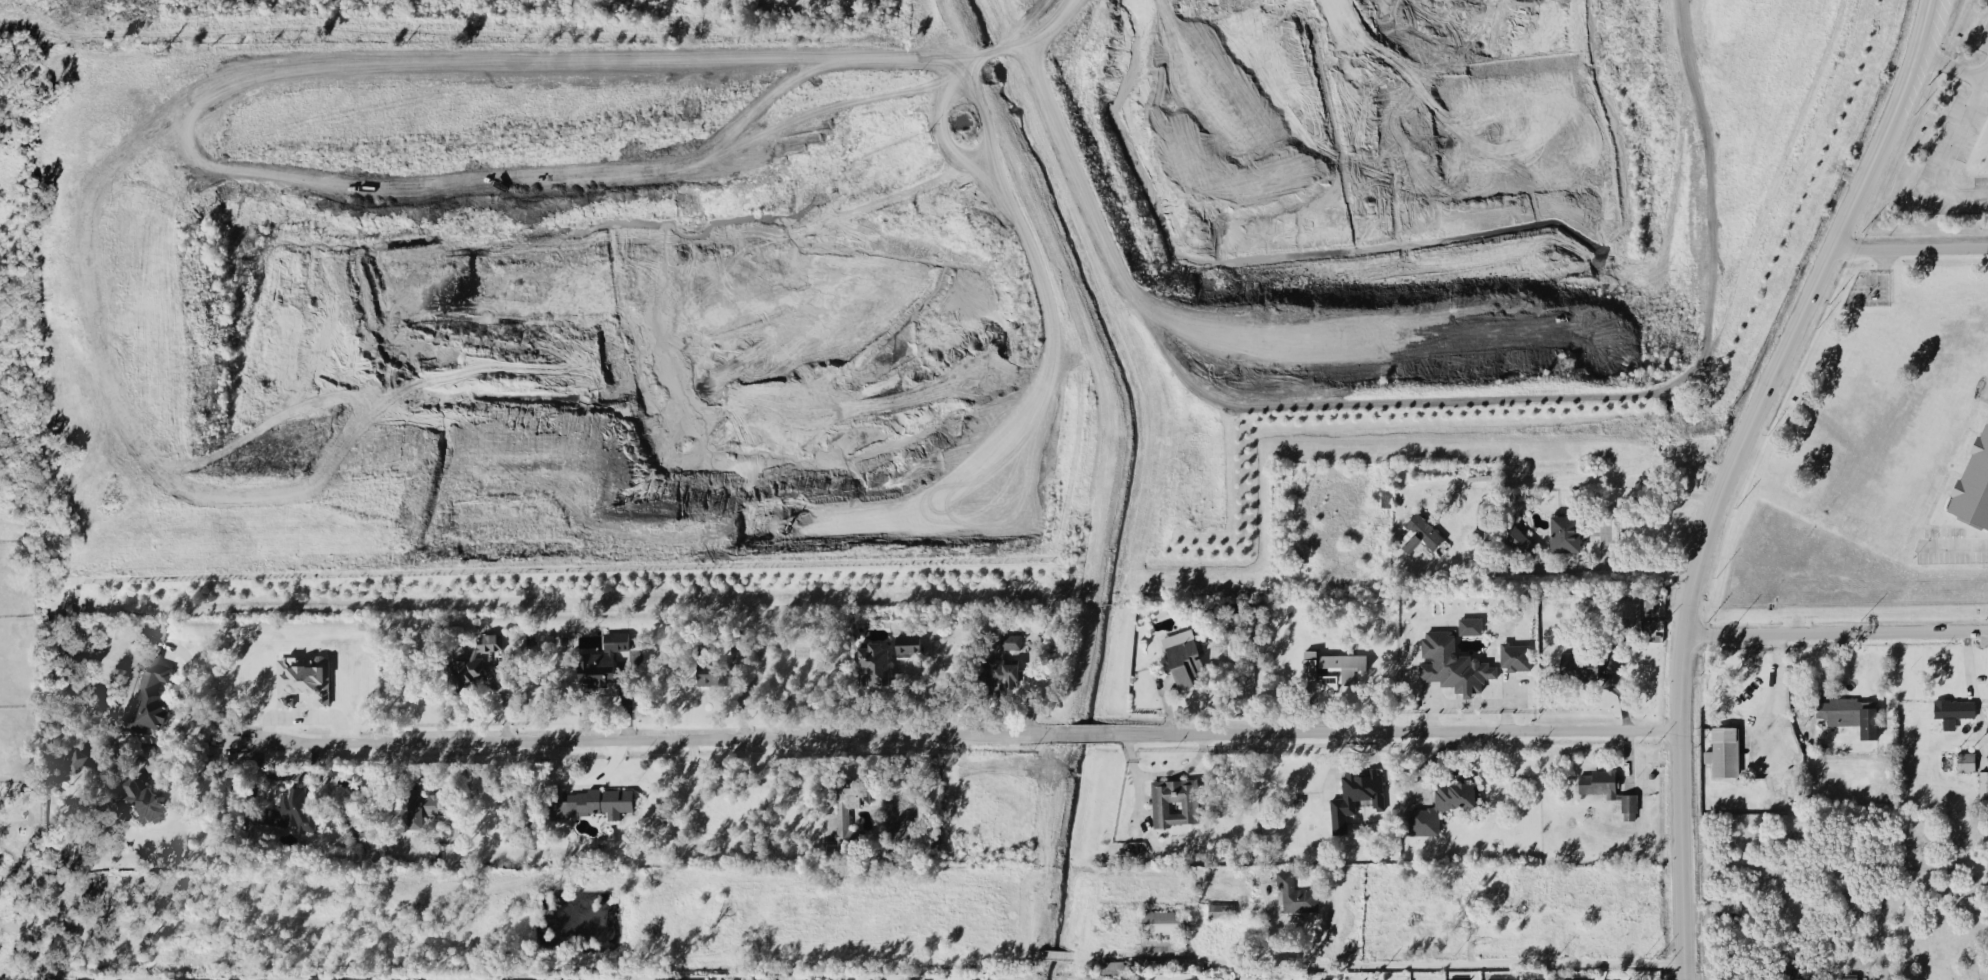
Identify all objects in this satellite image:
road: (643, 60)
road: (1952, 65)
road: (1950, 153)
road: (1910, 247)
road: (1727, 472)
building: (1973, 485)
building: (1486, 520)
road: (1607, 523)
building: (1420, 532)
building: (1565, 532)
building: (1518, 539)
road: (1955, 543)
building: (1469, 625)
road: (1835, 631)
building: (1010, 639)
road: (1776, 640)
building: (907, 644)
building: (1515, 655)
building: (1183, 657)
building: (601, 659)
building: (469, 661)
building: (872, 662)
building: (1451, 663)
building: (1578, 665)
building: (709, 666)
building: (1332, 667)
building: (998, 674)
building: (302, 676)
road: (1971, 680)
road: (187, 691)
building: (150, 694)
road: (1777, 694)
building: (1953, 707)
building: (1801, 708)
building: (1849, 712)
road: (1397, 730)
road: (1084, 732)
road: (637, 736)
building: (1723, 750)
road: (182, 756)
building: (76, 759)
building: (1965, 760)
road: (418, 774)
building: (1597, 781)
building: (1983, 781)
road: (577, 785)
building: (1355, 794)
building: (141, 799)
building: (1175, 801)
building: (593, 802)
building: (365, 804)
building: (1442, 804)
building: (1629, 805)
building: (421, 806)
building: (289, 809)
building: (841, 815)
building: (366, 830)
building: (1426, 883)
building: (1293, 892)
building: (1220, 910)
building: (1162, 921)
building: (1162, 943)
road: (1451, 962)
building: (1140, 965)
building: (1792, 973)
building: (1848, 976)
building: (1326, 978)
building: (1457, 978)
building: (1497, 978)
building: (238, 979)
building: (351, 979)
building: (407, 979)
building: (517, 979)
building: (567, 979)
building: (684, 979)
building: (736, 979)
road: (788, 979)

